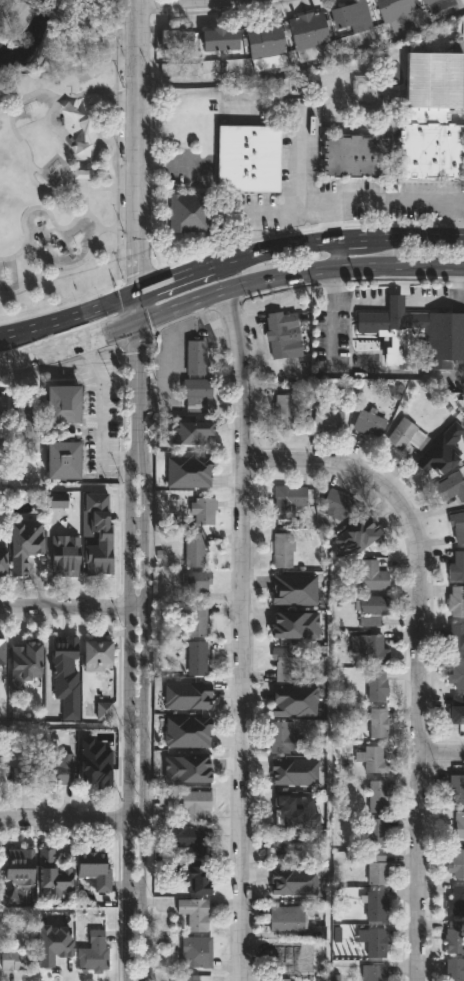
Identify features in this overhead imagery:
building: (441, 0)
road: (24, 2)
building: (429, 2)
building: (404, 7)
road: (43, 11)
building: (387, 11)
road: (78, 14)
building: (359, 17)
building: (342, 21)
building: (317, 31)
road: (85, 33)
building: (300, 34)
building: (228, 40)
building: (275, 40)
building: (211, 41)
building: (185, 42)
building: (169, 43)
building: (256, 43)
road: (303, 72)
building: (433, 81)
road: (100, 90)
road: (88, 102)
road: (14, 105)
road: (96, 144)
road: (133, 147)
park: (57, 150)
building: (431, 150)
building: (83, 151)
building: (352, 154)
building: (247, 159)
road: (298, 176)
road: (101, 188)
road: (459, 205)
road: (118, 206)
road: (392, 206)
road: (44, 209)
building: (189, 213)
road: (272, 213)
road: (397, 238)
road: (332, 252)
road: (230, 257)
road: (398, 262)
road: (65, 268)
road: (231, 283)
road: (461, 284)
traffic signals: (134, 294)
road: (360, 303)
road: (394, 303)
road: (408, 304)
road: (439, 304)
road: (134, 308)
road: (67, 316)
traffic signals: (135, 323)
building: (416, 332)
building: (282, 334)
road: (90, 337)
building: (195, 357)
road: (23, 359)
road: (344, 372)
road: (135, 373)
road: (170, 386)
building: (195, 395)
building: (63, 403)
building: (28, 411)
building: (283, 411)
road: (102, 413)
building: (327, 418)
parking lot: (103, 419)
building: (368, 423)
building: (194, 430)
building: (404, 435)
building: (1, 441)
building: (63, 459)
building: (433, 460)
building: (189, 469)
building: (450, 487)
building: (286, 500)
building: (336, 505)
building: (201, 511)
building: (457, 526)
building: (367, 532)
building: (97, 537)
building: (24, 543)
building: (193, 549)
building: (281, 550)
building: (64, 556)
building: (2, 557)
building: (456, 566)
building: (371, 575)
building: (195, 580)
building: (294, 590)
building: (455, 601)
road: (71, 603)
building: (371, 608)
building: (297, 626)
road: (239, 632)
building: (455, 637)
building: (195, 640)
building: (368, 649)
building: (2, 650)
road: (415, 653)
building: (98, 654)
building: (25, 661)
building: (284, 662)
building: (65, 674)
building: (458, 674)
building: (376, 686)
building: (187, 693)
building: (295, 699)
road: (128, 702)
road: (142, 702)
building: (455, 711)
building: (104, 713)
street lamp: (134, 713)
building: (377, 722)
building: (187, 729)
building: (282, 736)
road: (439, 753)
building: (374, 759)
building: (94, 762)
building: (195, 766)
building: (58, 769)
building: (295, 771)
building: (24, 775)
building: (455, 789)
building: (165, 796)
building: (376, 796)
building: (194, 805)
building: (289, 807)
road: (71, 819)
building: (458, 825)
building: (376, 833)
building: (188, 839)
building: (286, 841)
building: (16, 863)
building: (456, 865)
building: (94, 869)
building: (376, 870)
building: (50, 876)
building: (189, 877)
building: (287, 882)
building: (455, 902)
building: (375, 906)
street lamp: (133, 909)
building: (193, 913)
building: (286, 919)
building: (454, 937)
building: (375, 942)
building: (53, 944)
building: (195, 952)
building: (92, 953)
building: (289, 953)
building: (14, 959)
building: (454, 970)
building: (373, 973)
building: (189, 978)

